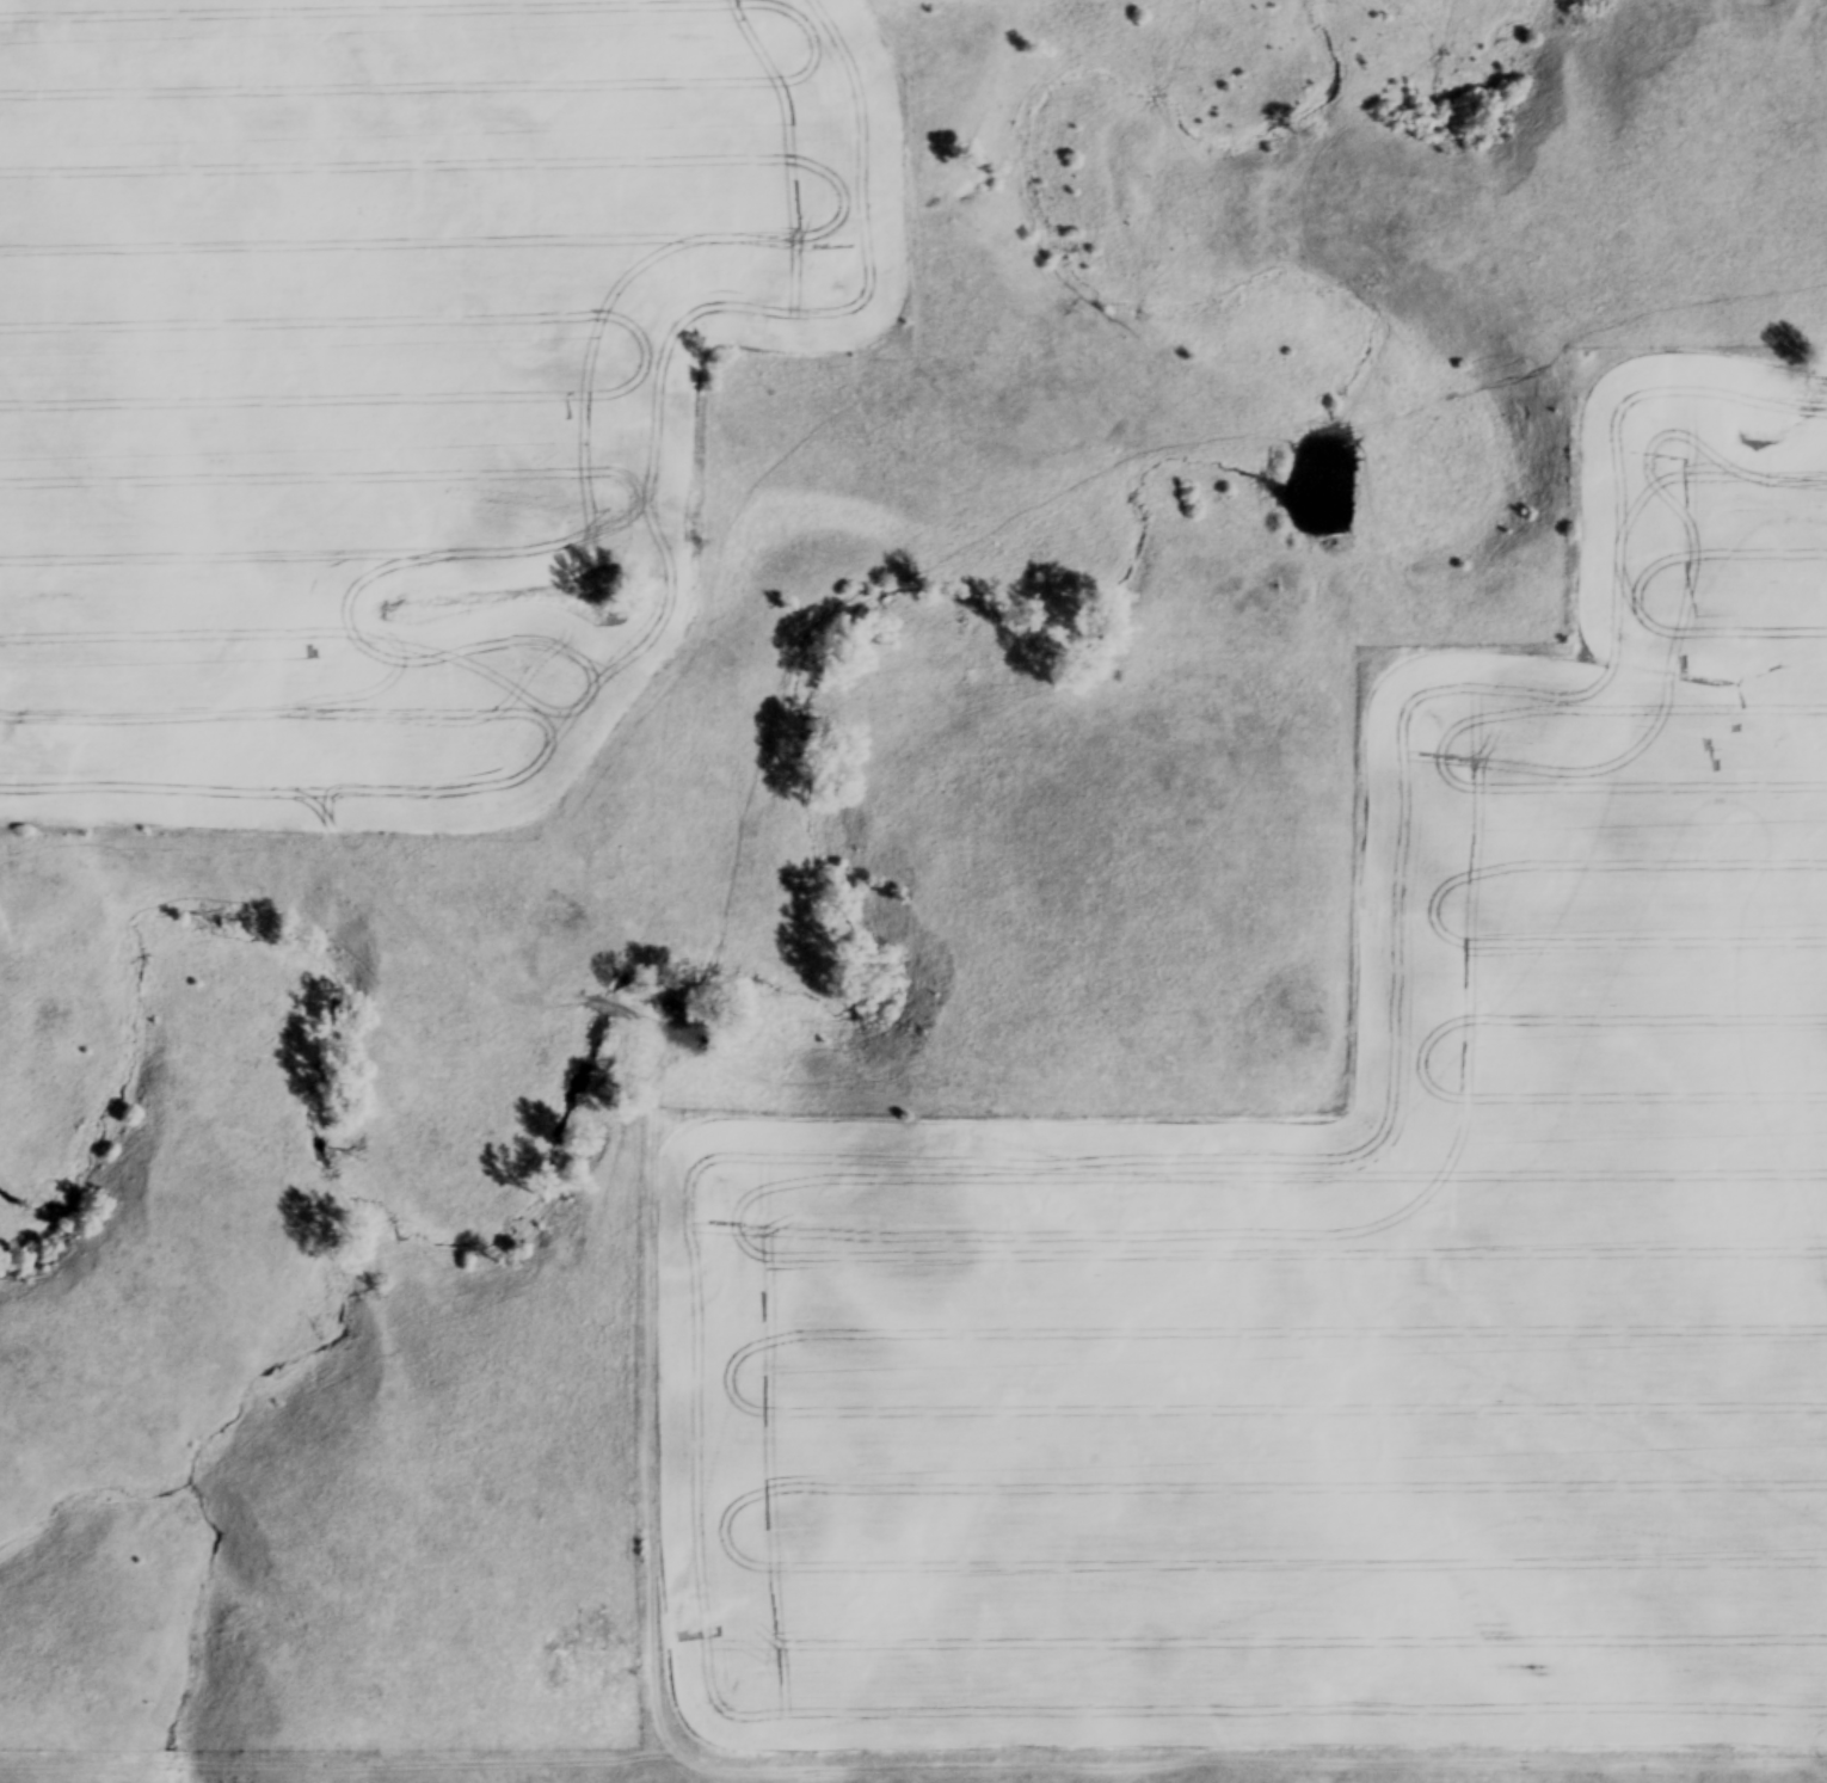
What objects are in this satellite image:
river: (1275, 473)

